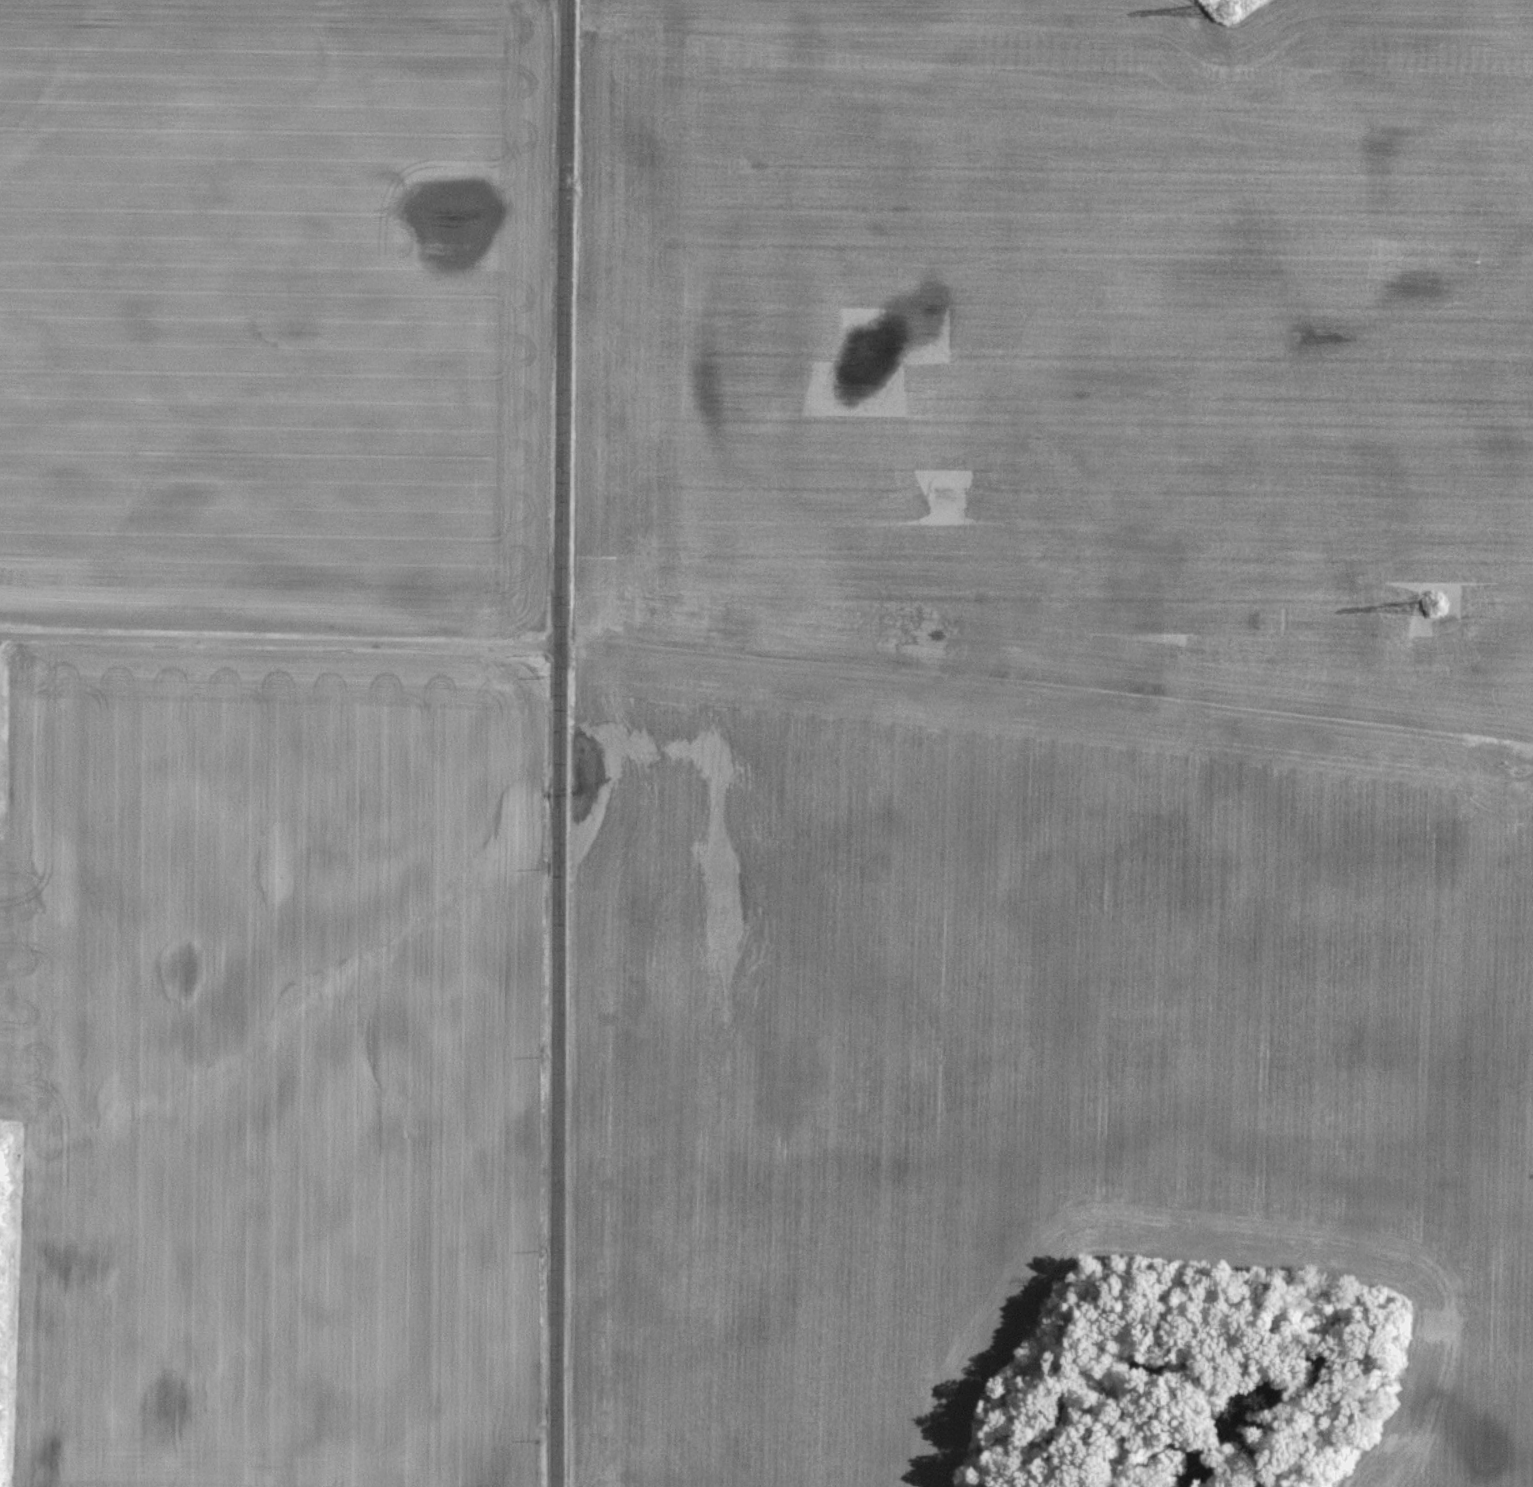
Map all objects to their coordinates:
building: (1146, 603)
road: (280, 641)
road: (560, 743)

